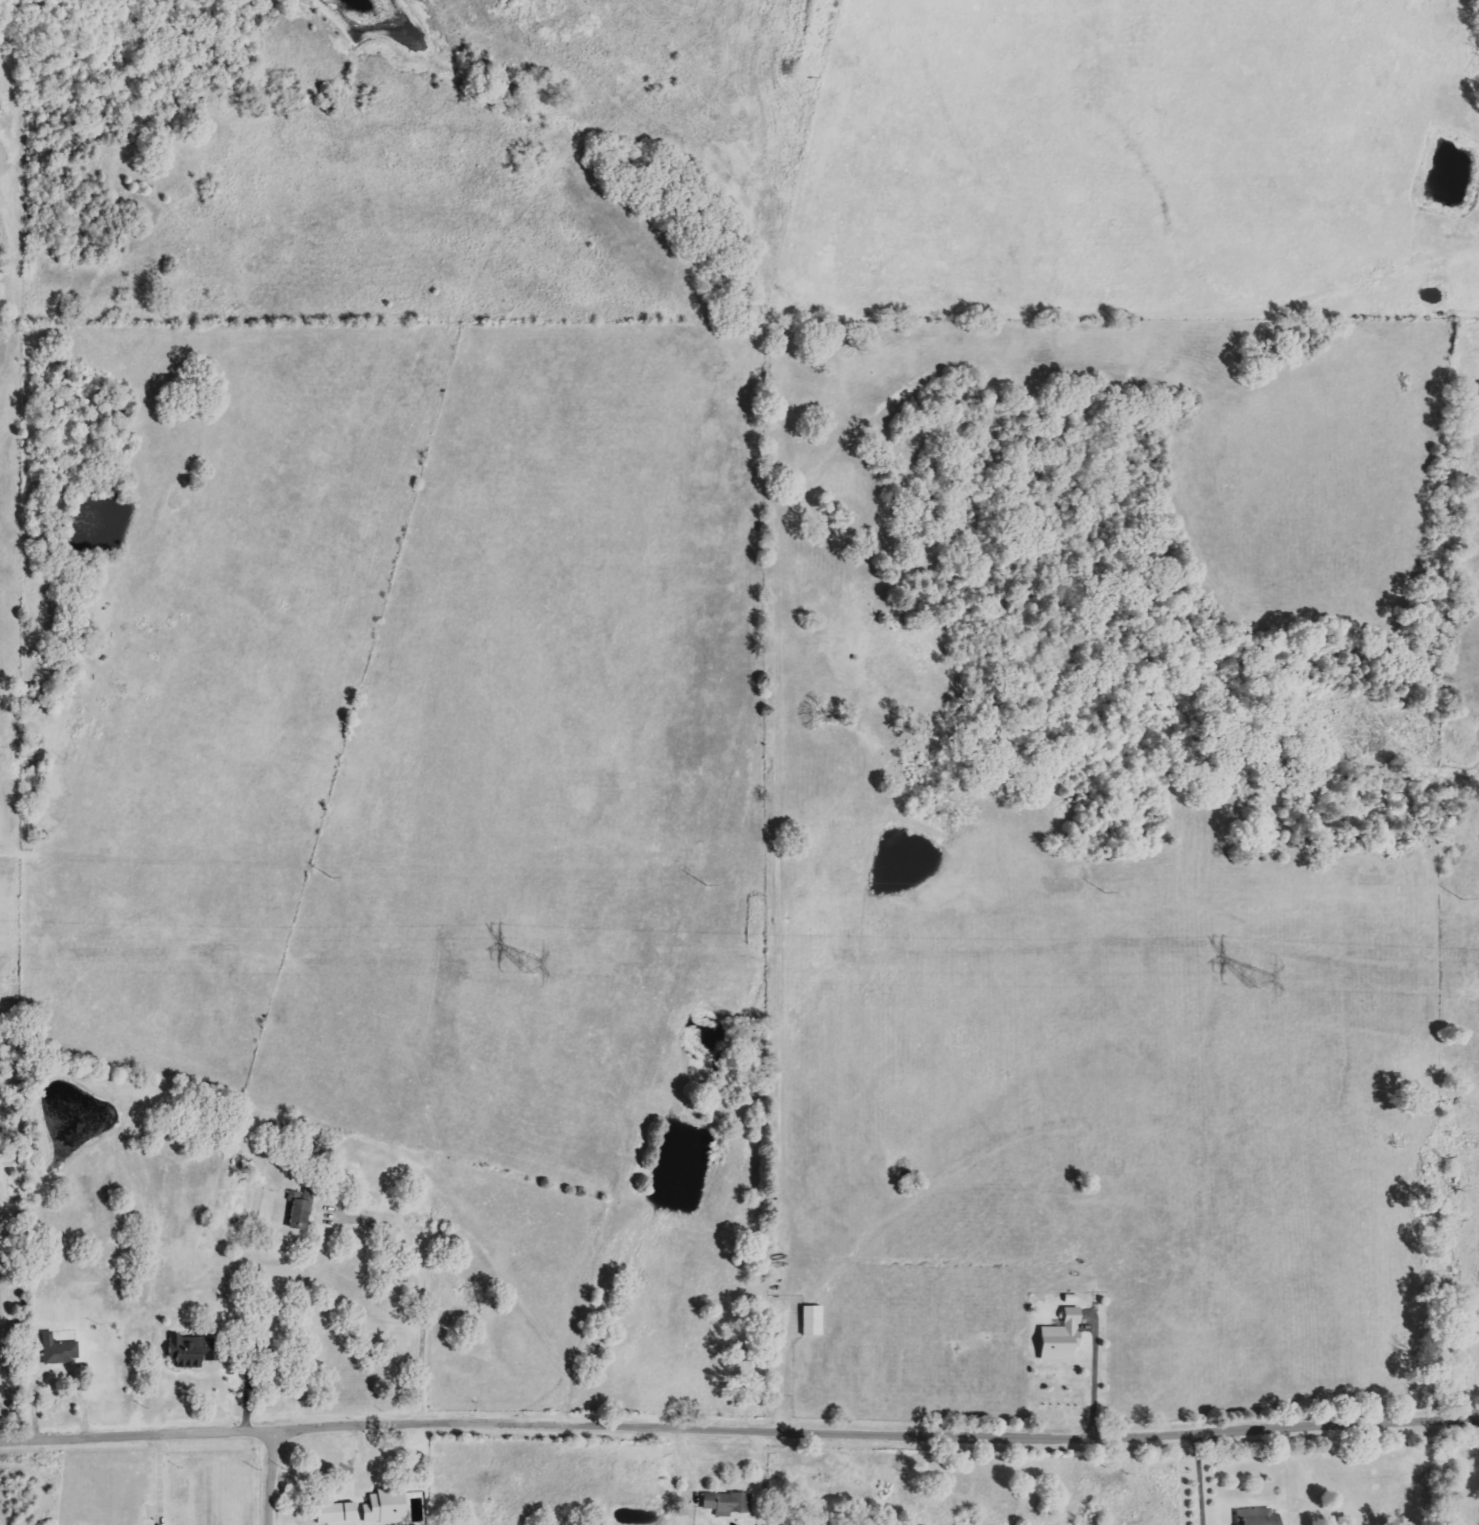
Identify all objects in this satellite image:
power tower: (530, 963)
power tower: (1256, 977)
building: (299, 1211)
road: (422, 1284)
building: (813, 1321)
building: (1062, 1337)
building: (59, 1350)
road: (784, 1367)
road: (739, 1422)
road: (1209, 1475)
road: (159, 1478)
road: (269, 1478)
building: (727, 1502)
building: (386, 1507)
building: (337, 1513)
building: (1257, 1517)

